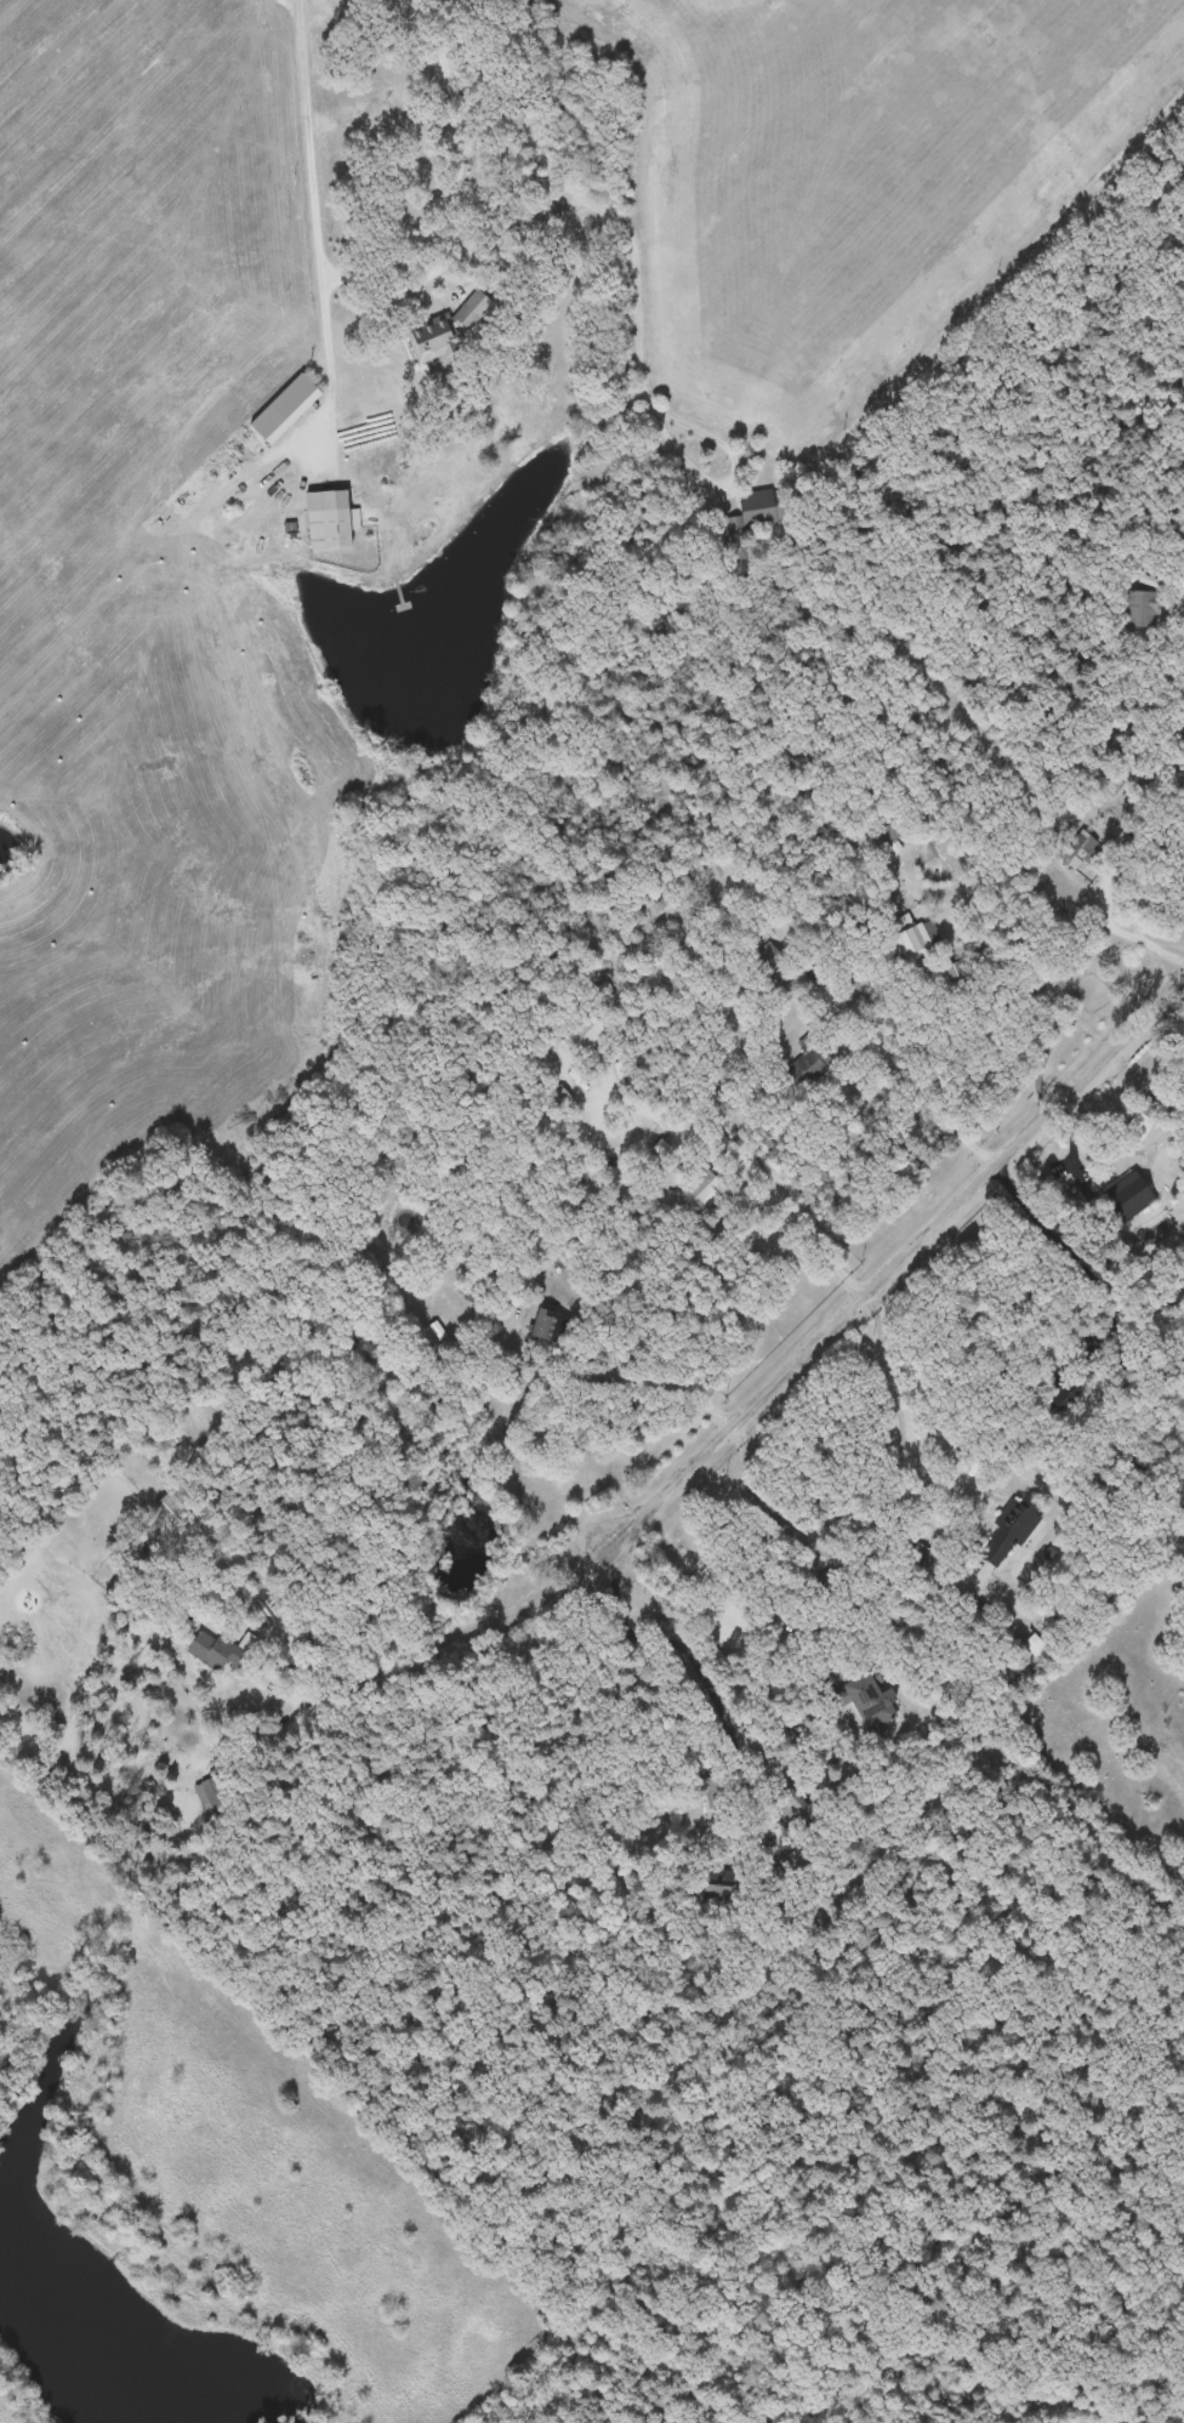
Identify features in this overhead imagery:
road: (482, 96)
road: (319, 169)
road: (642, 325)
building: (449, 328)
building: (289, 408)
building: (751, 513)
building: (331, 518)
building: (734, 554)
building: (1139, 610)
building: (892, 832)
building: (1078, 851)
road: (1131, 931)
building: (913, 934)
building: (768, 960)
building: (956, 976)
road: (1042, 977)
building: (581, 1034)
building: (807, 1067)
road: (899, 1068)
building: (701, 1190)
building: (1126, 1201)
road: (830, 1257)
building: (543, 1331)
road: (769, 1382)
road: (747, 1461)
building: (166, 1503)
building: (1009, 1529)
building: (1037, 1645)
building: (216, 1650)
road: (702, 1671)
road: (274, 1682)
road: (247, 1745)
building: (708, 1765)
building: (716, 1792)
building: (212, 1797)

